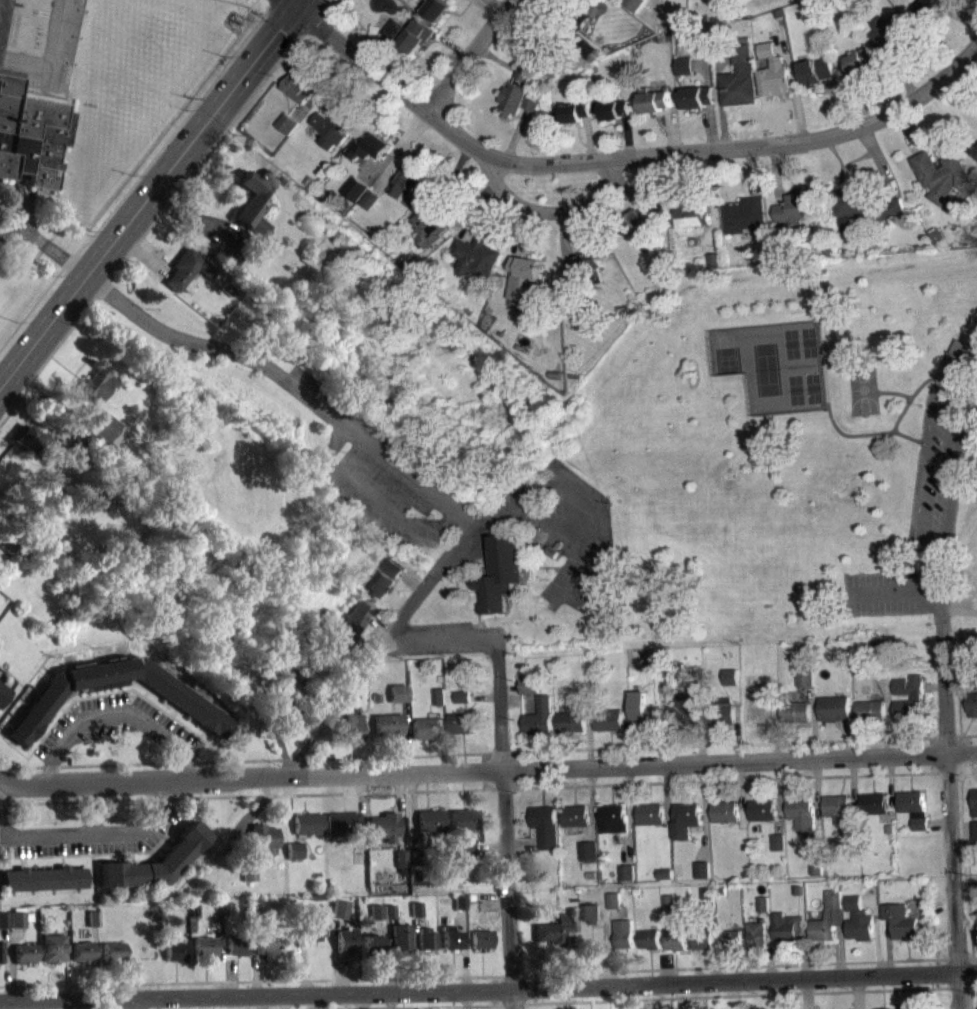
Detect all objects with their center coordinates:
road: (320, 2)
building: (0, 4)
road: (290, 4)
road: (296, 4)
road: (497, 4)
building: (632, 4)
building: (568, 6)
traffic signals: (293, 8)
building: (436, 8)
road: (484, 9)
building: (926, 10)
road: (961, 13)
road: (547, 22)
road: (283, 23)
building: (890, 32)
building: (408, 33)
road: (374, 48)
building: (586, 49)
building: (539, 51)
road: (724, 53)
road: (467, 55)
road: (496, 58)
building: (858, 60)
road: (698, 64)
road: (705, 64)
building: (683, 65)
building: (772, 71)
building: (815, 71)
road: (904, 75)
building: (739, 79)
road: (792, 82)
road: (320, 84)
road: (882, 86)
building: (295, 88)
road: (342, 88)
road: (961, 92)
building: (519, 94)
building: (697, 96)
road: (719, 96)
building: (654, 101)
road: (840, 102)
building: (615, 109)
building: (572, 112)
building: (286, 123)
road: (710, 126)
building: (333, 127)
road: (669, 129)
road: (908, 131)
building: (30, 132)
road: (517, 134)
road: (627, 135)
road: (589, 137)
road: (393, 146)
building: (368, 147)
building: (976, 149)
road: (401, 153)
building: (976, 155)
road: (624, 156)
road: (878, 161)
road: (752, 171)
road: (776, 174)
road: (139, 175)
building: (941, 175)
building: (406, 183)
road: (628, 188)
building: (355, 189)
road: (146, 196)
road: (451, 198)
building: (370, 199)
road: (710, 200)
building: (252, 202)
building: (861, 207)
building: (797, 208)
road: (160, 210)
road: (547, 211)
building: (691, 215)
building: (746, 216)
road: (483, 217)
road: (195, 219)
building: (638, 219)
building: (431, 230)
road: (523, 232)
road: (563, 237)
road: (144, 253)
building: (228, 256)
building: (474, 257)
building: (714, 259)
building: (584, 264)
building: (187, 268)
building: (525, 281)
building: (957, 358)
park: (775, 364)
building: (96, 383)
road: (291, 385)
park: (861, 390)
road: (915, 391)
road: (893, 392)
road: (46, 399)
road: (930, 410)
building: (99, 423)
road: (865, 433)
building: (31, 439)
park: (788, 452)
parking lot: (388, 475)
parking lot: (923, 519)
parking lot: (569, 527)
building: (7, 544)
building: (500, 574)
road: (939, 576)
building: (385, 578)
road: (410, 581)
road: (902, 591)
park: (975, 592)
road: (958, 610)
road: (401, 616)
building: (348, 621)
road: (379, 621)
parking lot: (444, 638)
road: (441, 639)
building: (879, 653)
building: (657, 673)
building: (675, 674)
building: (731, 676)
building: (805, 678)
building: (973, 679)
road: (957, 680)
building: (530, 684)
road: (510, 686)
road: (932, 686)
building: (280, 690)
building: (398, 692)
building: (2, 693)
building: (375, 696)
building: (462, 696)
road: (484, 696)
building: (439, 697)
building: (916, 697)
building: (463, 702)
building: (758, 703)
building: (971, 704)
building: (439, 705)
building: (194, 706)
building: (834, 707)
road: (959, 707)
building: (684, 709)
building: (870, 710)
building: (796, 711)
building: (644, 712)
building: (721, 712)
road: (887, 712)
road: (117, 713)
building: (539, 717)
building: (608, 719)
building: (571, 721)
road: (814, 721)
building: (461, 723)
building: (388, 725)
parking lot: (116, 727)
building: (351, 727)
building: (425, 728)
road: (738, 734)
road: (775, 734)
road: (626, 735)
road: (405, 736)
road: (700, 736)
road: (848, 737)
road: (442, 738)
road: (663, 738)
road: (589, 739)
road: (487, 752)
road: (968, 753)
road: (929, 754)
road: (524, 769)
road: (487, 770)
road: (740, 778)
road: (890, 783)
road: (740, 785)
road: (817, 790)
road: (666, 791)
road: (853, 792)
road: (250, 795)
road: (779, 796)
building: (974, 802)
building: (873, 803)
road: (591, 804)
building: (914, 807)
building: (838, 808)
road: (287, 809)
building: (762, 809)
road: (949, 809)
road: (413, 810)
road: (401, 811)
road: (704, 811)
building: (725, 812)
building: (801, 812)
building: (650, 813)
road: (629, 814)
building: (575, 816)
road: (248, 817)
building: (612, 818)
building: (431, 819)
building: (464, 819)
building: (685, 819)
road: (939, 821)
building: (342, 822)
building: (308, 824)
road: (505, 824)
building: (545, 825)
building: (385, 826)
building: (888, 829)
road: (962, 830)
building: (974, 830)
parking lot: (88, 831)
road: (73, 832)
building: (850, 834)
building: (262, 836)
road: (523, 842)
building: (777, 842)
building: (465, 848)
building: (294, 850)
building: (587, 850)
building: (416, 856)
building: (402, 858)
building: (156, 862)
building: (816, 868)
building: (702, 869)
building: (627, 871)
building: (249, 872)
building: (665, 873)
building: (43, 878)
building: (665, 880)
building: (798, 890)
building: (708, 892)
building: (976, 894)
road: (964, 895)
building: (614, 900)
building: (459, 901)
building: (669, 901)
road: (867, 901)
building: (762, 904)
building: (340, 908)
building: (194, 909)
building: (416, 909)
building: (224, 911)
building: (375, 911)
building: (388, 911)
building: (590, 913)
building: (253, 914)
building: (828, 917)
building: (20, 918)
building: (93, 918)
road: (970, 918)
building: (4, 919)
building: (858, 919)
building: (901, 922)
building: (314, 925)
building: (556, 927)
building: (784, 928)
road: (876, 932)
building: (623, 935)
building: (756, 935)
building: (400, 937)
building: (426, 938)
building: (452, 938)
building: (481, 938)
building: (730, 938)
building: (267, 939)
building: (648, 939)
building: (675, 939)
building: (703, 939)
building: (345, 941)
building: (370, 943)
building: (236, 944)
building: (205, 945)
road: (769, 945)
road: (612, 946)
building: (53, 947)
road: (888, 947)
road: (465, 949)
building: (113, 950)
road: (840, 950)
building: (1, 951)
building: (82, 951)
building: (175, 951)
building: (24, 952)
road: (415, 953)
road: (333, 954)
road: (383, 954)
road: (389, 954)
road: (605, 955)
road: (573, 957)
road: (804, 957)
road: (966, 957)
road: (253, 958)
road: (97, 961)
road: (302, 961)
road: (8, 963)
road: (13, 964)
road: (976, 965)
road: (714, 966)
road: (735, 966)
road: (739, 966)
road: (68, 968)
road: (665, 968)
road: (220, 972)
road: (936, 973)
road: (229, 977)
road: (256, 979)
road: (534, 988)
road: (488, 989)
road: (807, 993)
road: (857, 993)
road: (745, 995)
road: (136, 1003)
road: (400, 1006)
building: (908, 1007)

